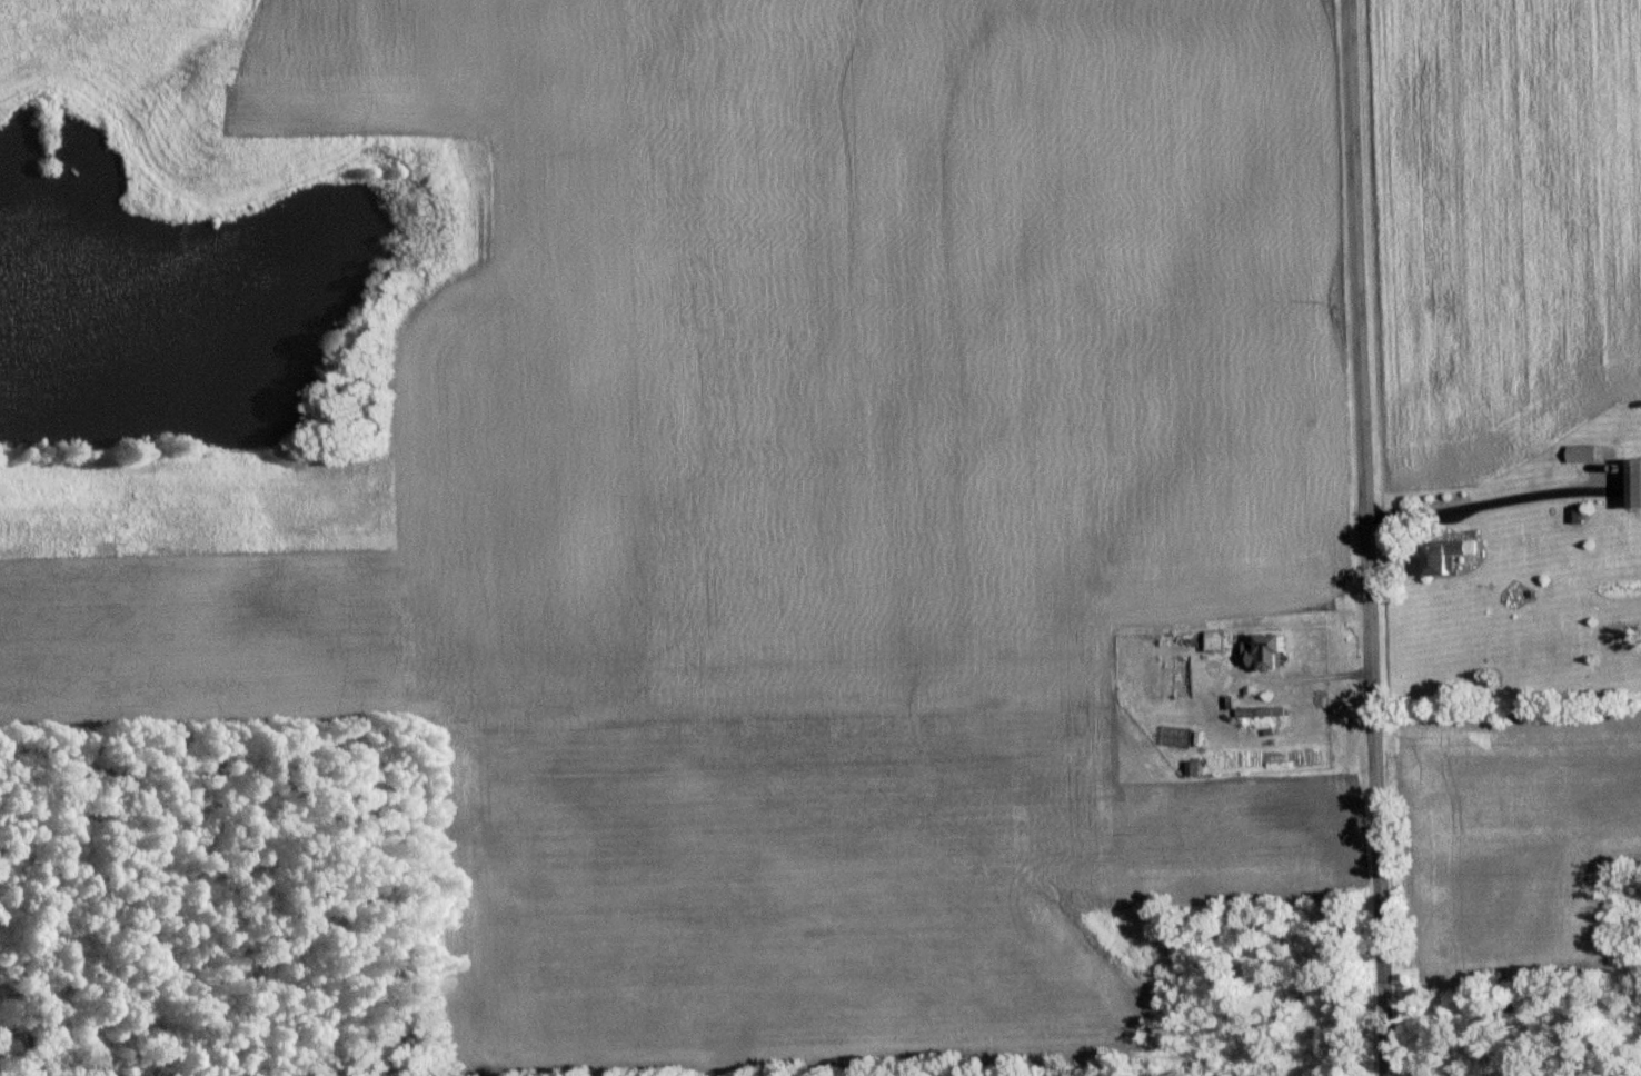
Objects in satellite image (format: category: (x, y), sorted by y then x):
building: (1587, 451)
building: (1638, 481)
building: (1579, 512)
road: (1363, 538)
building: (1454, 552)
building: (1276, 649)
building: (1263, 709)

